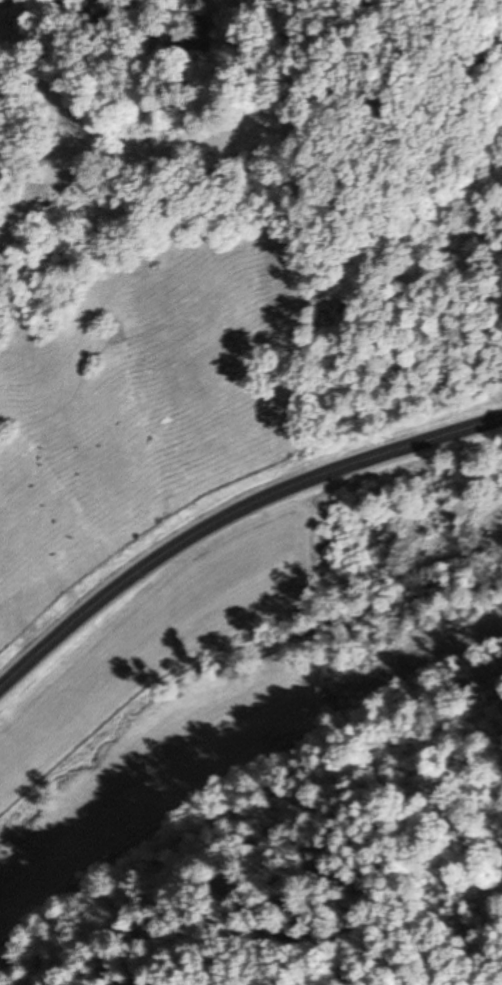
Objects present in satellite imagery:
road: (228, 506)

